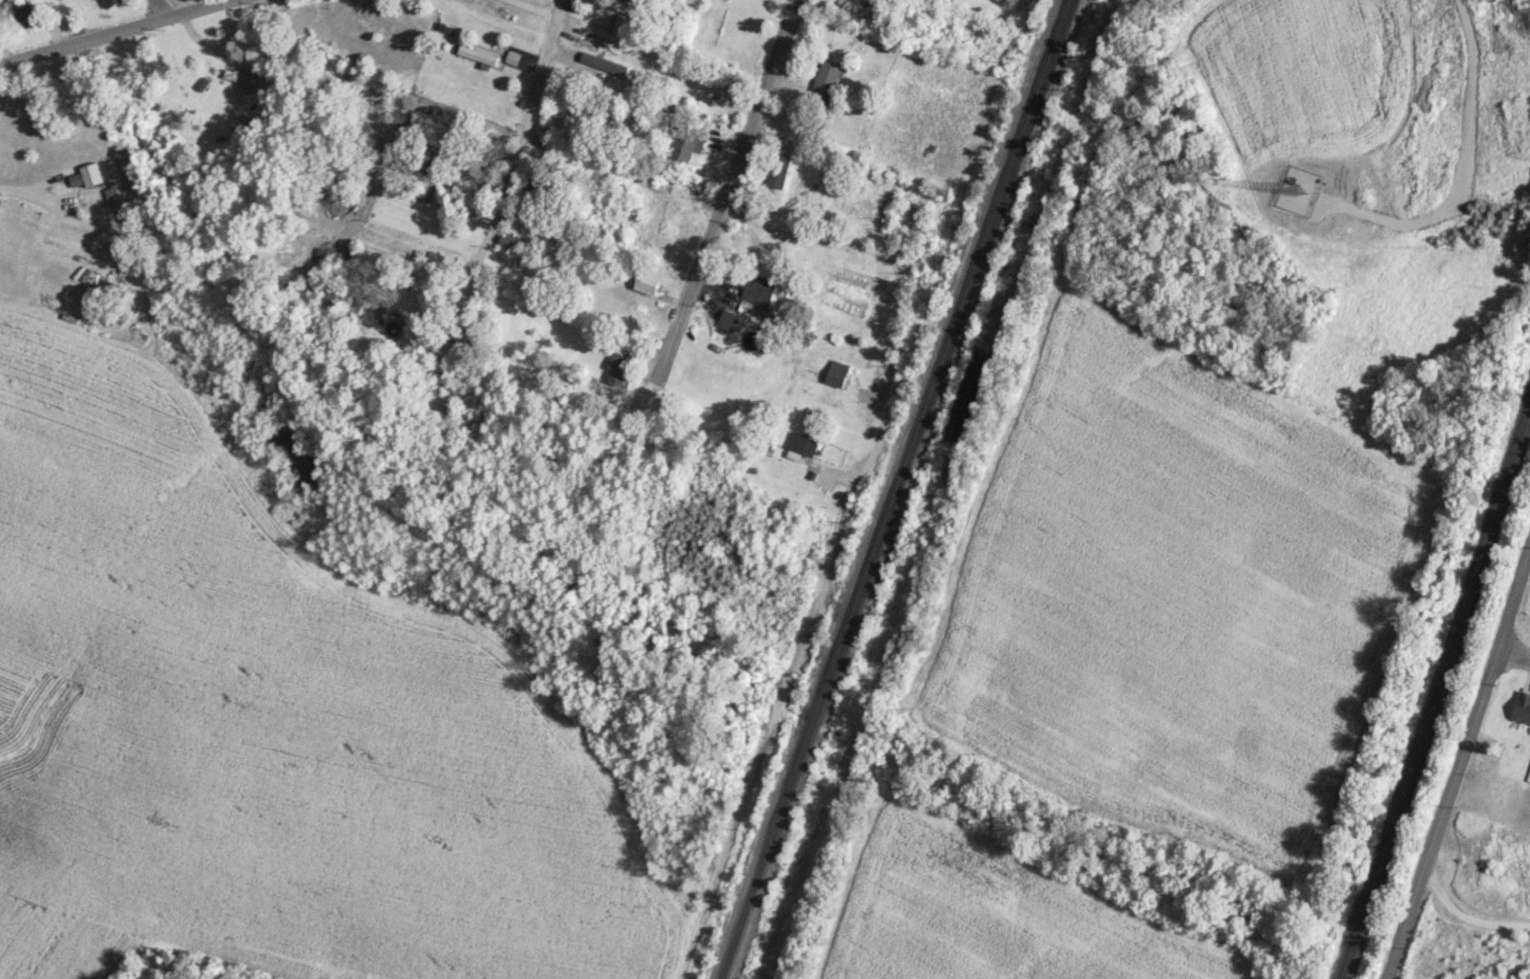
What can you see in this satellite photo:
building: (109, 2)
road: (156, 9)
road: (529, 9)
building: (25, 13)
building: (624, 26)
road: (115, 31)
road: (6, 50)
building: (478, 55)
building: (603, 63)
building: (242, 77)
building: (825, 80)
building: (685, 143)
road: (509, 170)
building: (91, 174)
building: (115, 186)
road: (26, 192)
road: (726, 206)
building: (508, 241)
building: (647, 282)
building: (758, 289)
building: (419, 296)
building: (727, 319)
building: (619, 365)
building: (836, 373)
road: (661, 374)
road: (426, 387)
road: (880, 406)
building: (802, 443)
railway: (893, 489)
road: (1512, 656)
railway: (1435, 690)
building: (1522, 707)
road: (1458, 759)
road: (1467, 919)

